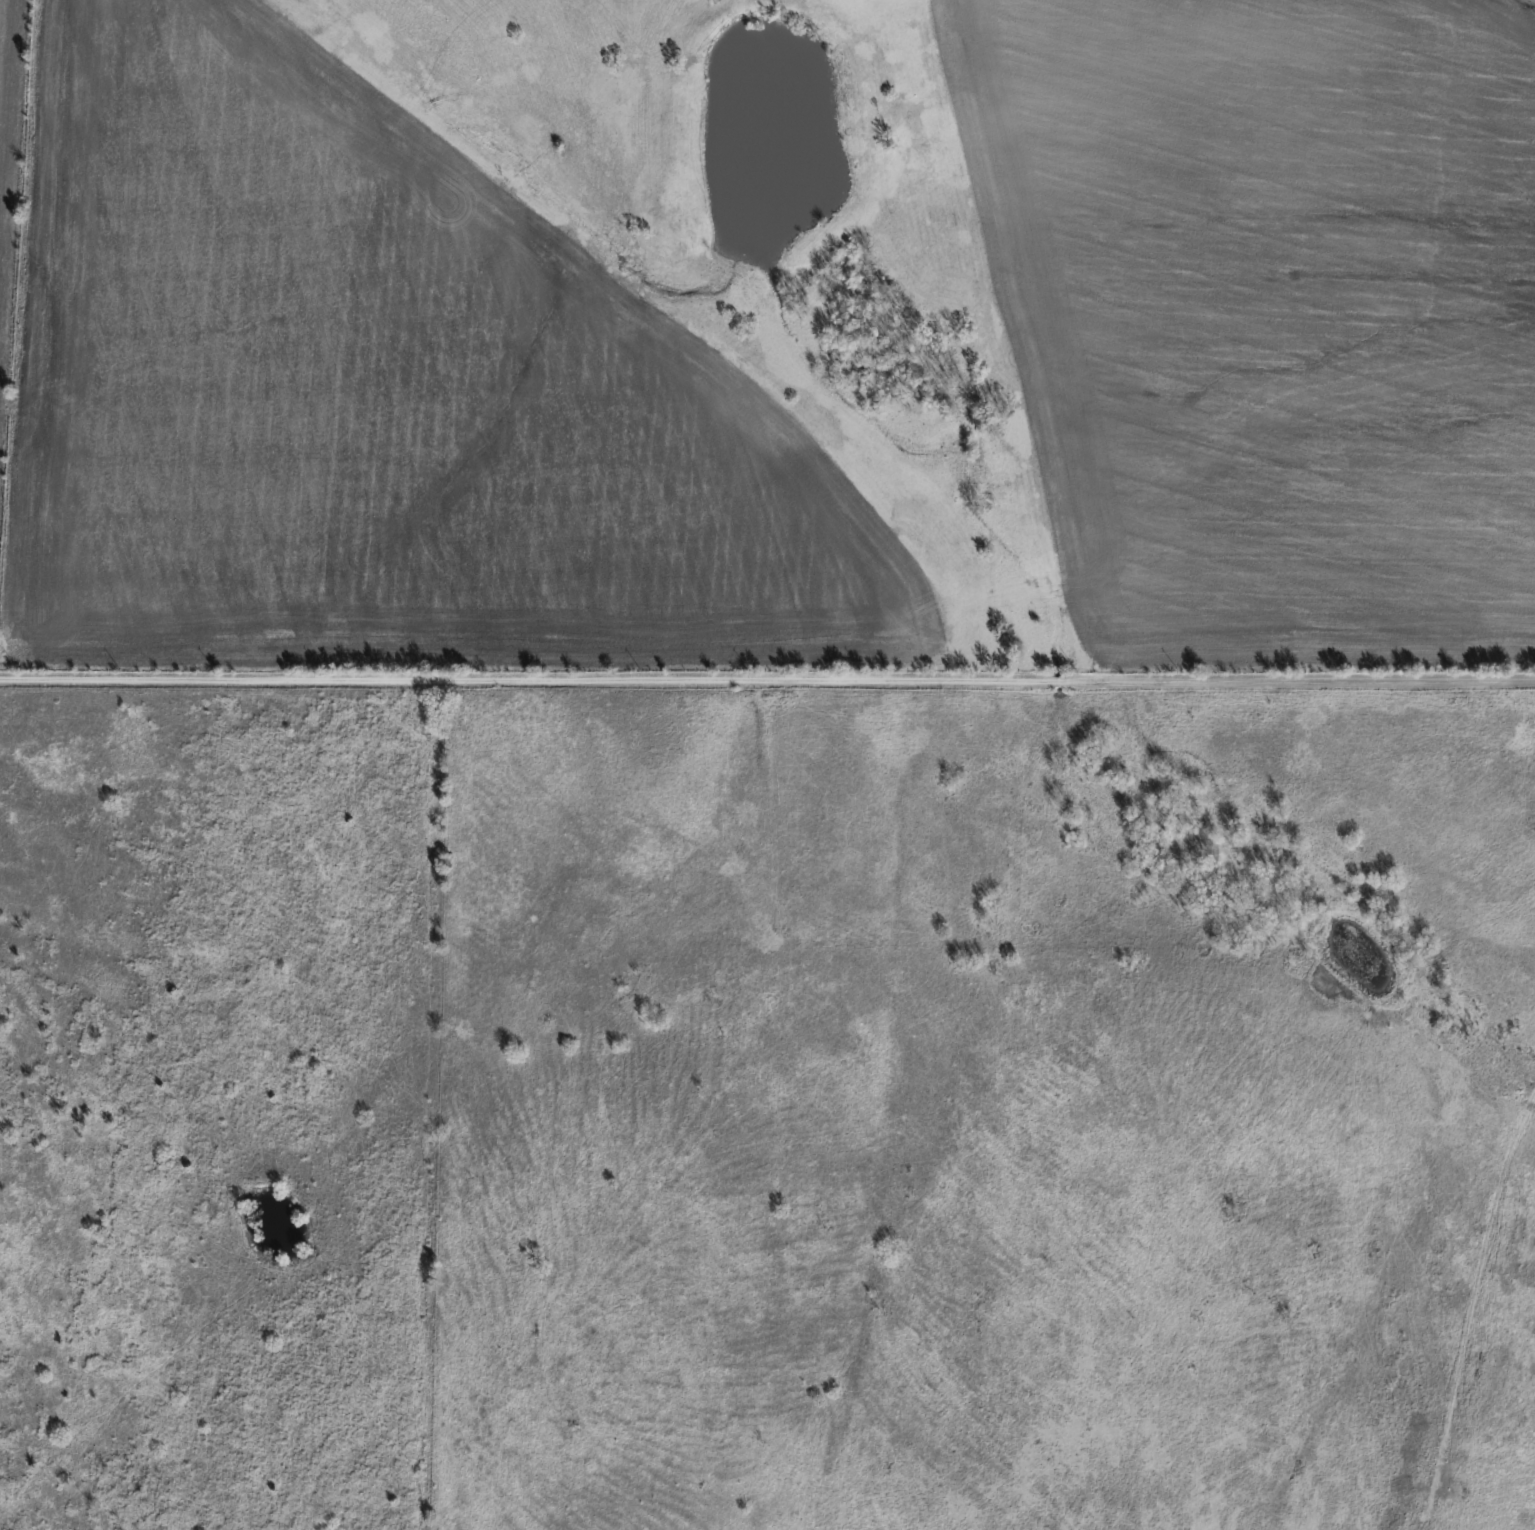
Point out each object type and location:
road: (767, 679)

